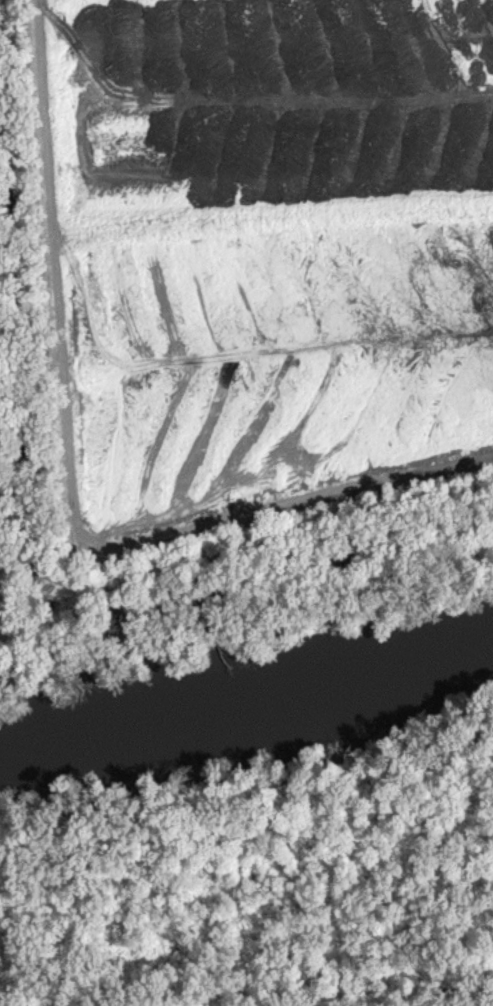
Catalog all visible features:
road: (72, 480)
park: (10, 481)
road: (230, 552)
road: (9, 576)
river: (245, 721)

